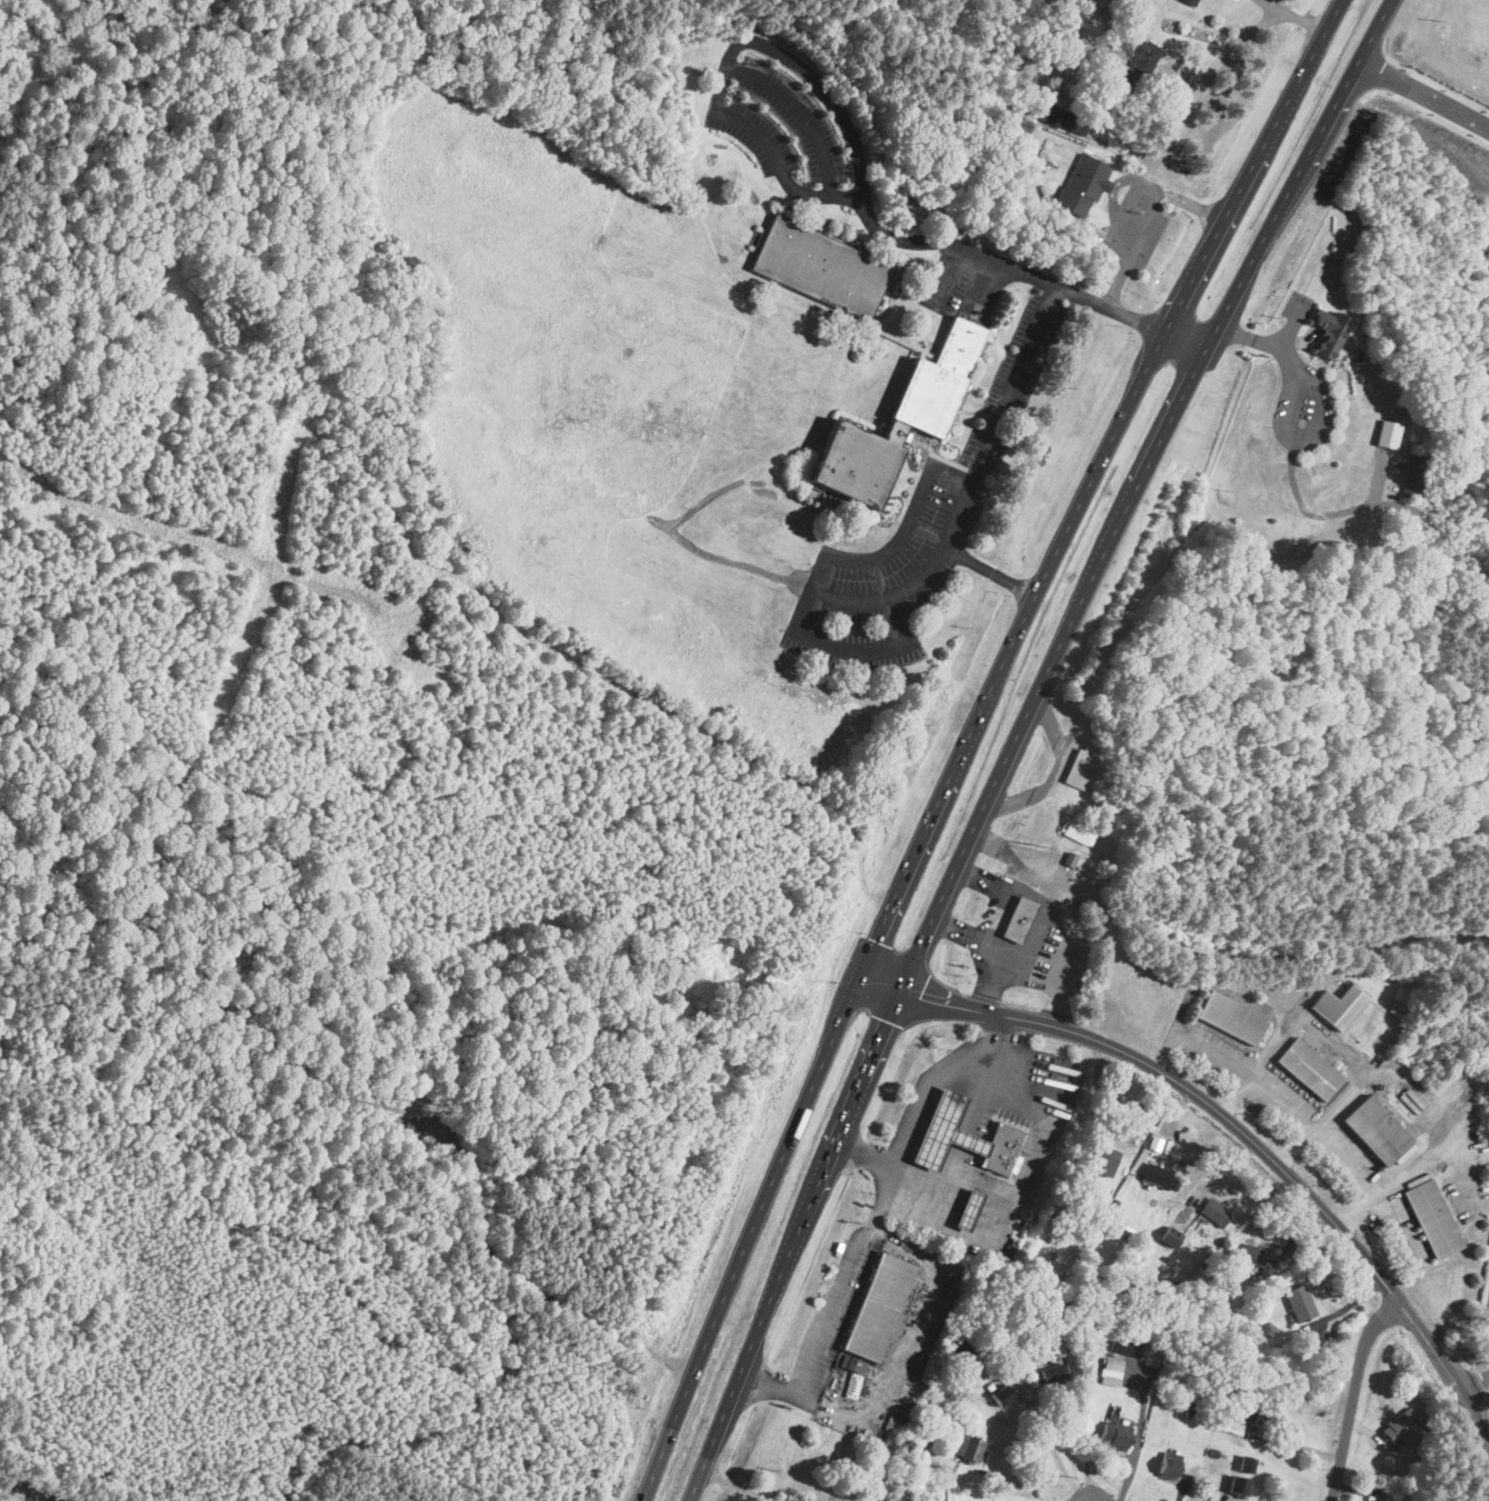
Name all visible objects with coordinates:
building: (1188, 2)
road: (1281, 9)
road: (750, 42)
building: (1144, 57)
road: (1424, 92)
road: (1195, 94)
road: (802, 114)
building: (1062, 119)
road: (1255, 161)
road: (1302, 166)
building: (1081, 184)
road: (1133, 244)
building: (818, 266)
road: (951, 277)
road: (1054, 285)
building: (1326, 331)
road: (1292, 410)
building: (896, 421)
building: (1388, 433)
building: (1412, 476)
road: (967, 487)
road: (987, 570)
road: (815, 575)
road: (1010, 645)
road: (1052, 658)
building: (1079, 767)
building: (1075, 832)
road: (1019, 855)
building: (1071, 858)
road: (1039, 903)
road: (996, 915)
building: (1017, 919)
traffic signals: (876, 940)
road: (985, 951)
traffic signals: (922, 997)
building: (1336, 1006)
building: (1229, 1018)
traffic signals: (889, 1020)
road: (996, 1039)
road: (1336, 1043)
building: (1307, 1068)
road: (1297, 1119)
road: (1233, 1122)
building: (1374, 1129)
building: (947, 1130)
building: (1003, 1149)
road: (1030, 1156)
building: (1100, 1159)
road: (779, 1165)
road: (1416, 1165)
building: (1155, 1175)
building: (970, 1209)
building: (1214, 1210)
building: (1431, 1218)
road: (792, 1244)
building: (1254, 1256)
road: (519, 1279)
building: (1298, 1302)
building: (879, 1306)
road: (829, 1309)
building: (1124, 1345)
road: (910, 1349)
building: (1153, 1355)
building: (1050, 1359)
building: (853, 1363)
road: (1466, 1363)
building: (1110, 1368)
building: (1052, 1378)
road: (1474, 1379)
road: (1479, 1381)
road: (1488, 1392)
building: (999, 1394)
road: (1352, 1395)
road: (1488, 1396)
building: (1250, 1412)
building: (1397, 1424)
road: (1087, 1427)
building: (894, 1430)
road: (670, 1431)
building: (1117, 1433)
road: (1137, 1439)
building: (962, 1446)
road: (1054, 1451)
building: (1167, 1464)
building: (1239, 1475)
road: (1035, 1482)
road: (735, 1484)
building: (1371, 1500)

